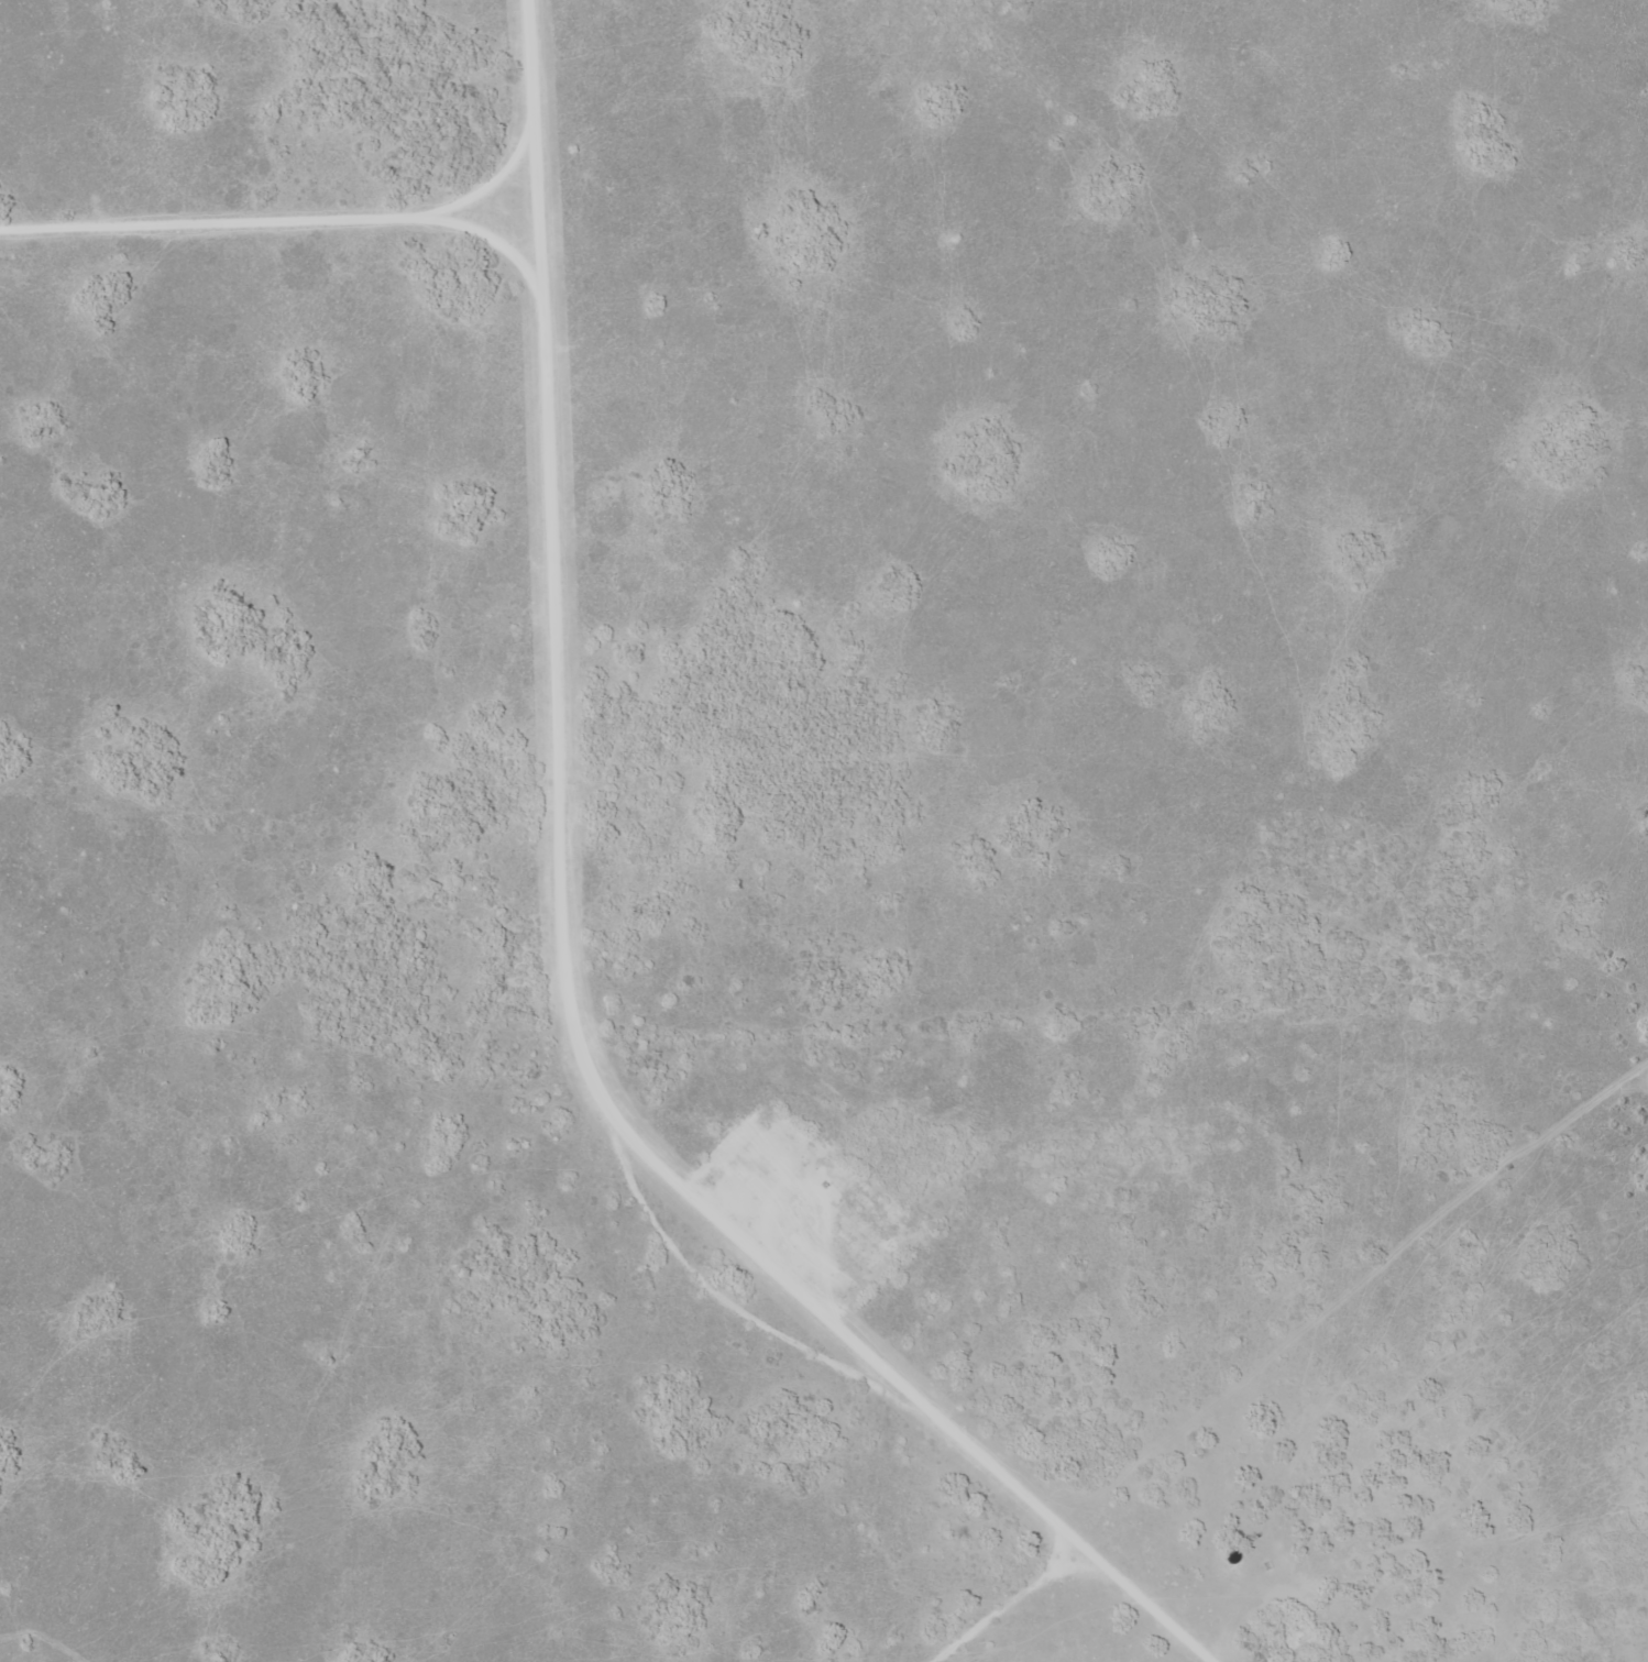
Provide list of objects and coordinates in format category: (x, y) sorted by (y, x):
road: (261, 214)
road: (572, 957)

